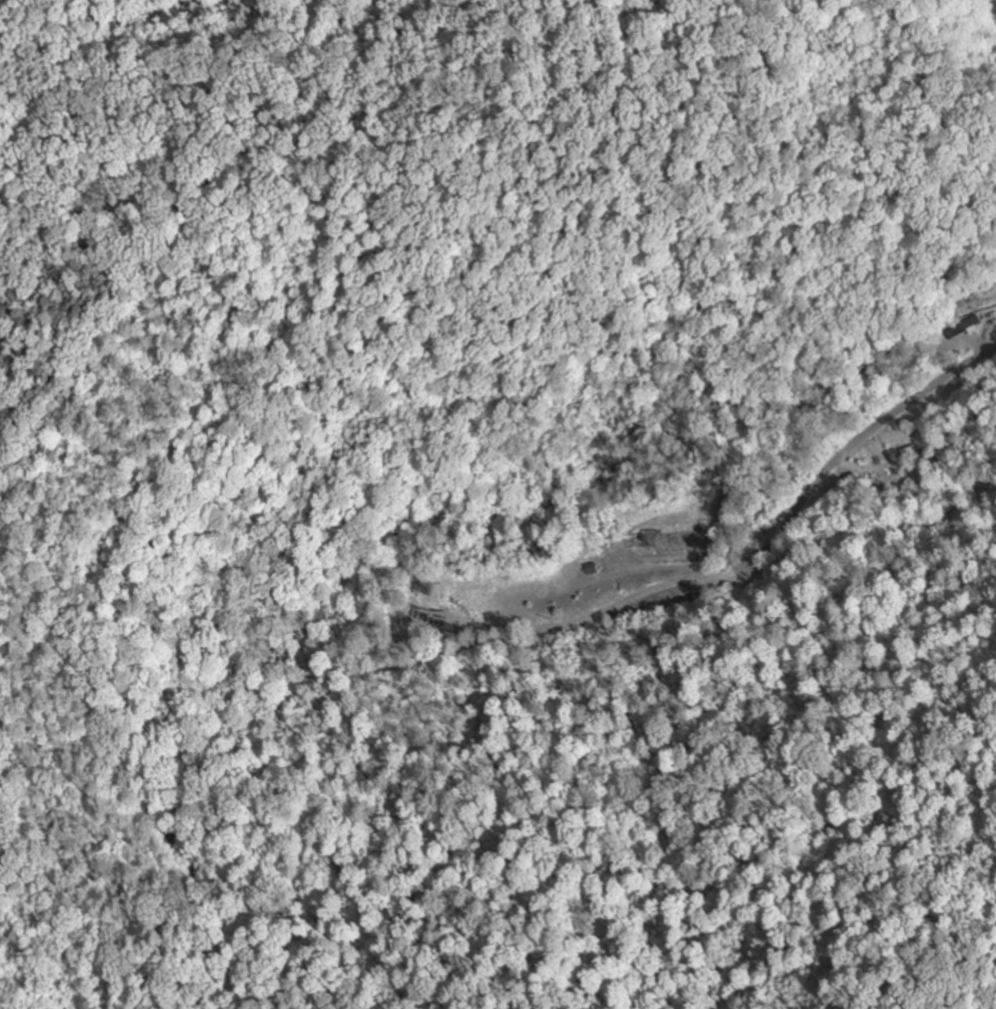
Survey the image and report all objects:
road: (860, 442)

